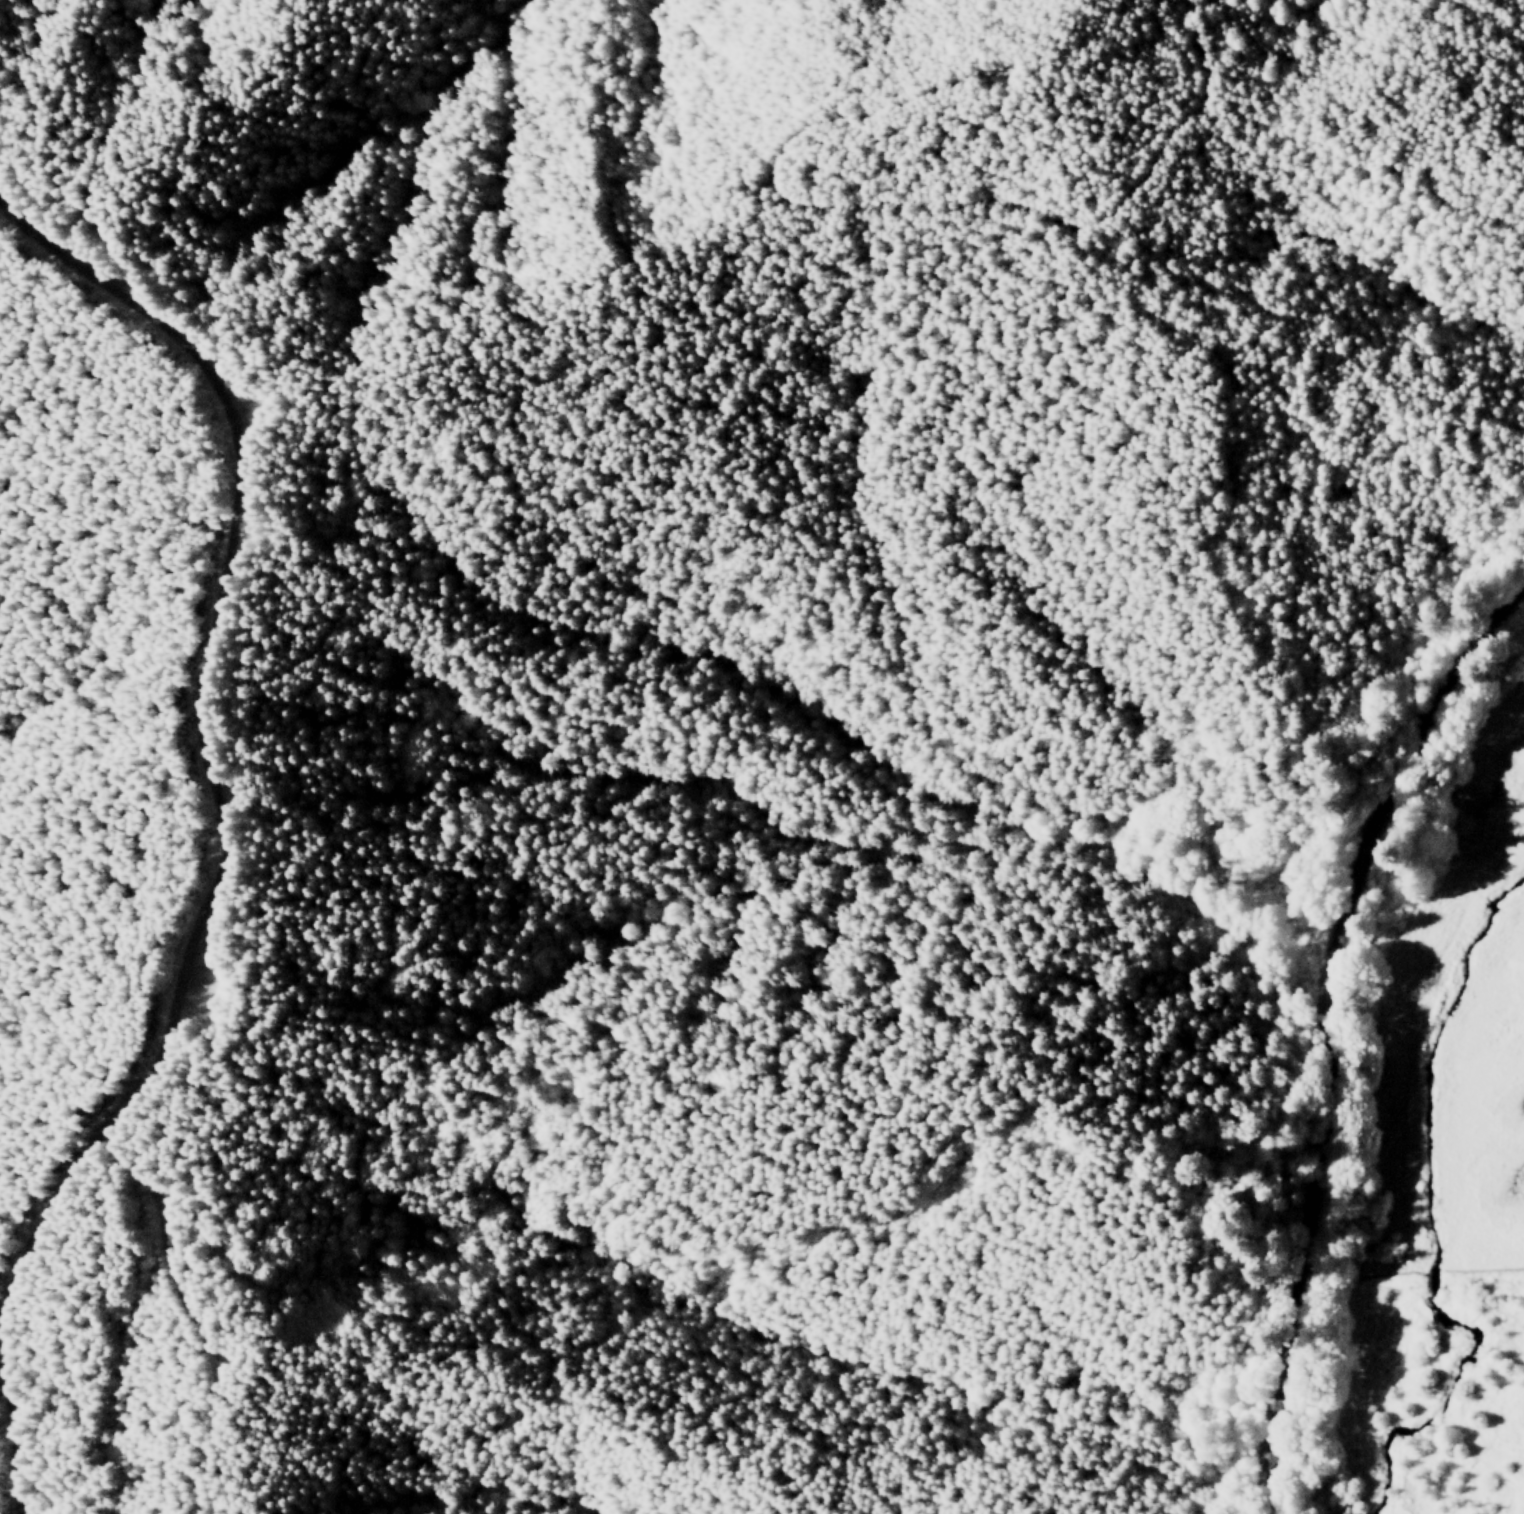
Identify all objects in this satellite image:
railway: (1356, 1055)

